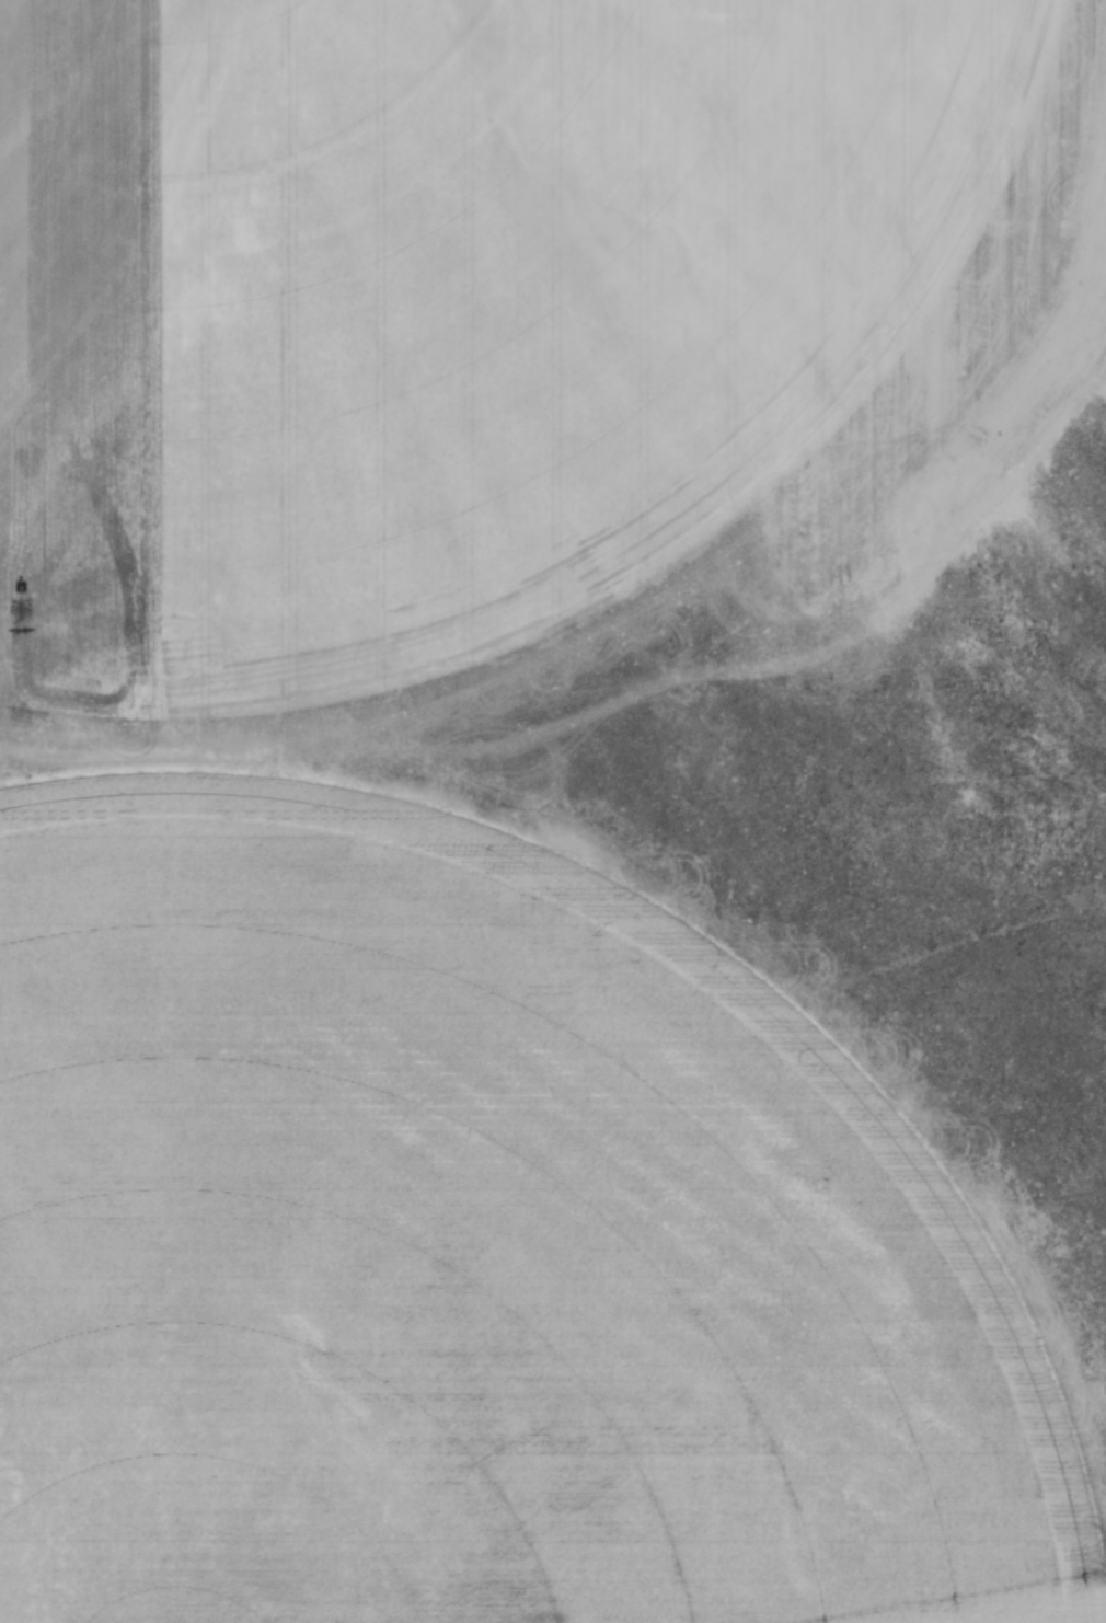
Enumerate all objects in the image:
crop: (84, 149)
crop: (468, 1254)

